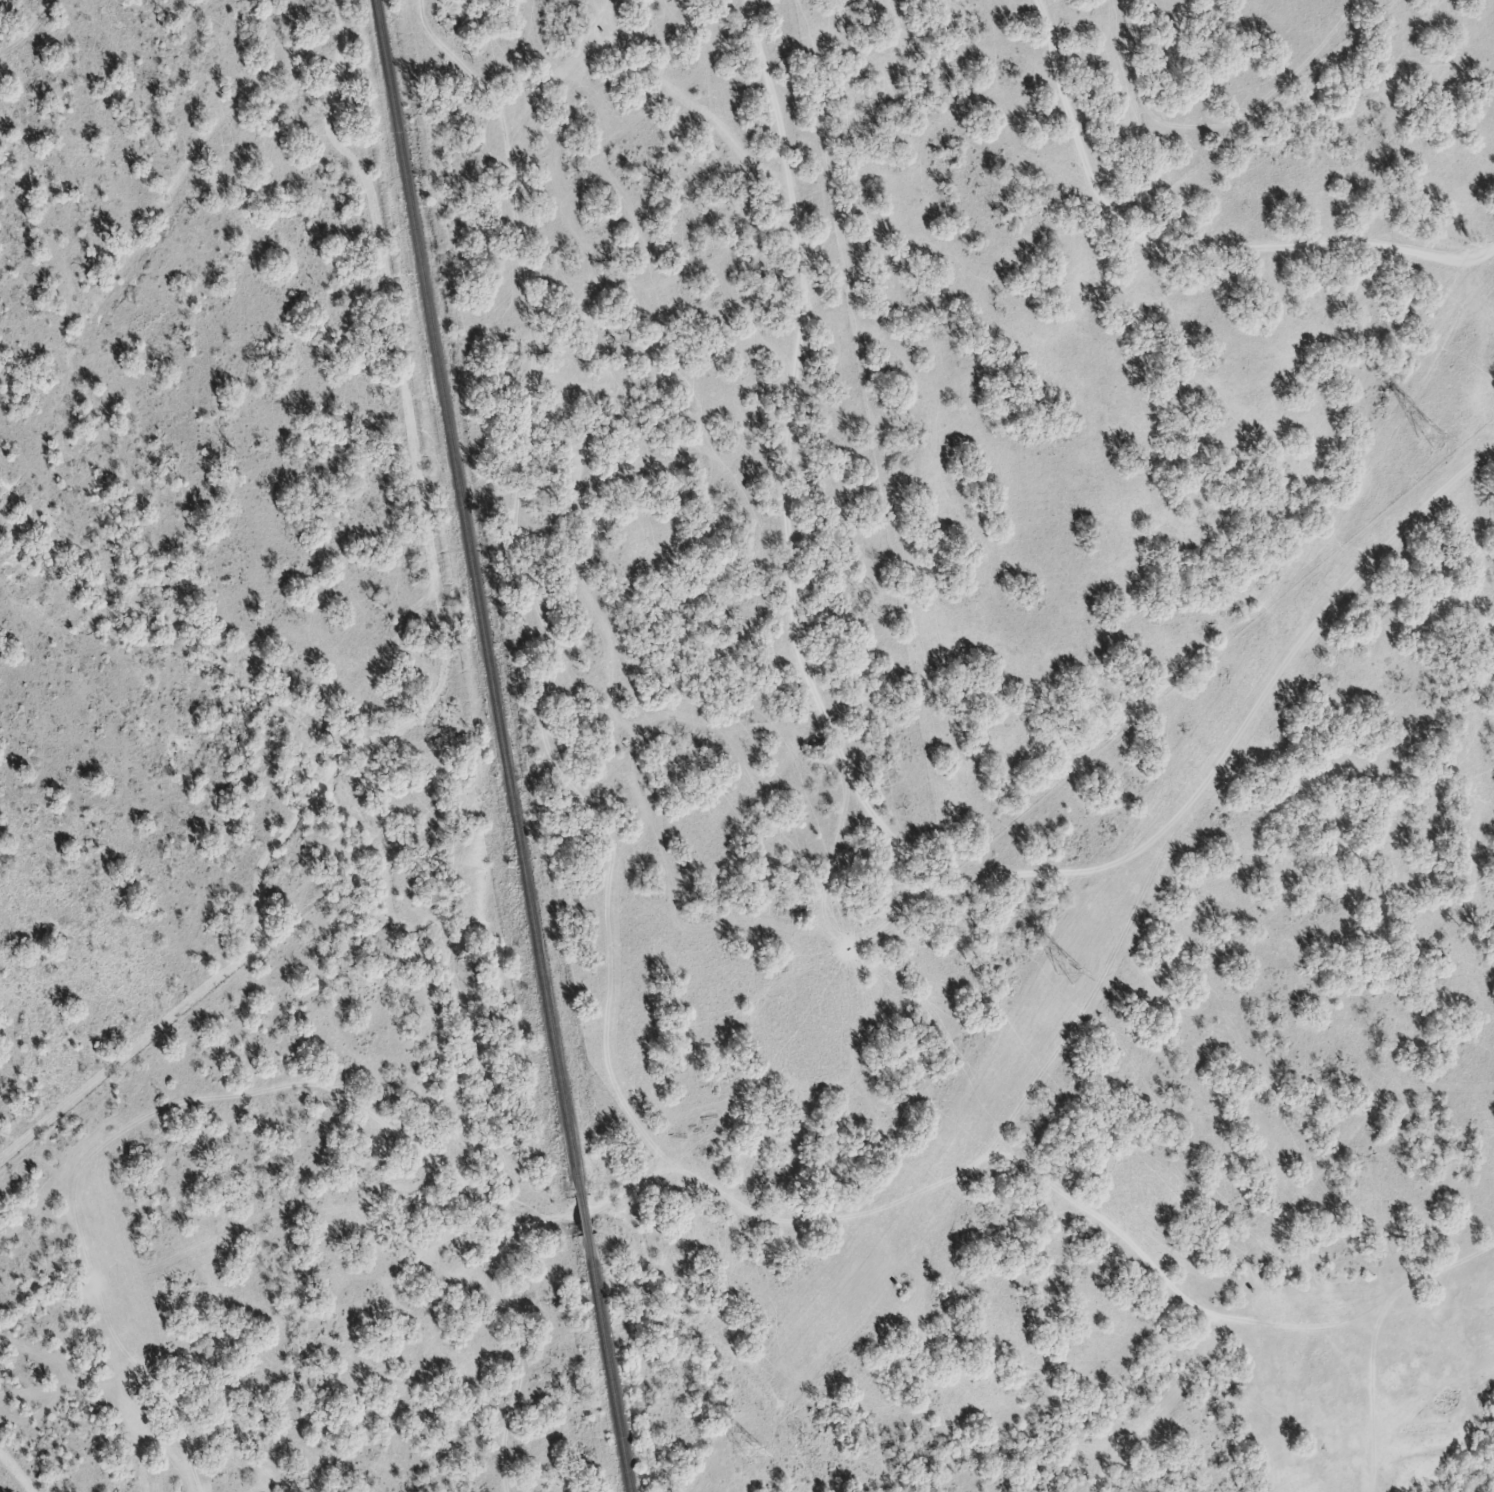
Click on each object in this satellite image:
road: (1181, 250)
road: (1492, 253)
power tower: (1427, 438)
railway: (501, 745)
road: (878, 805)
power tower: (1066, 973)
power tower: (743, 1452)

